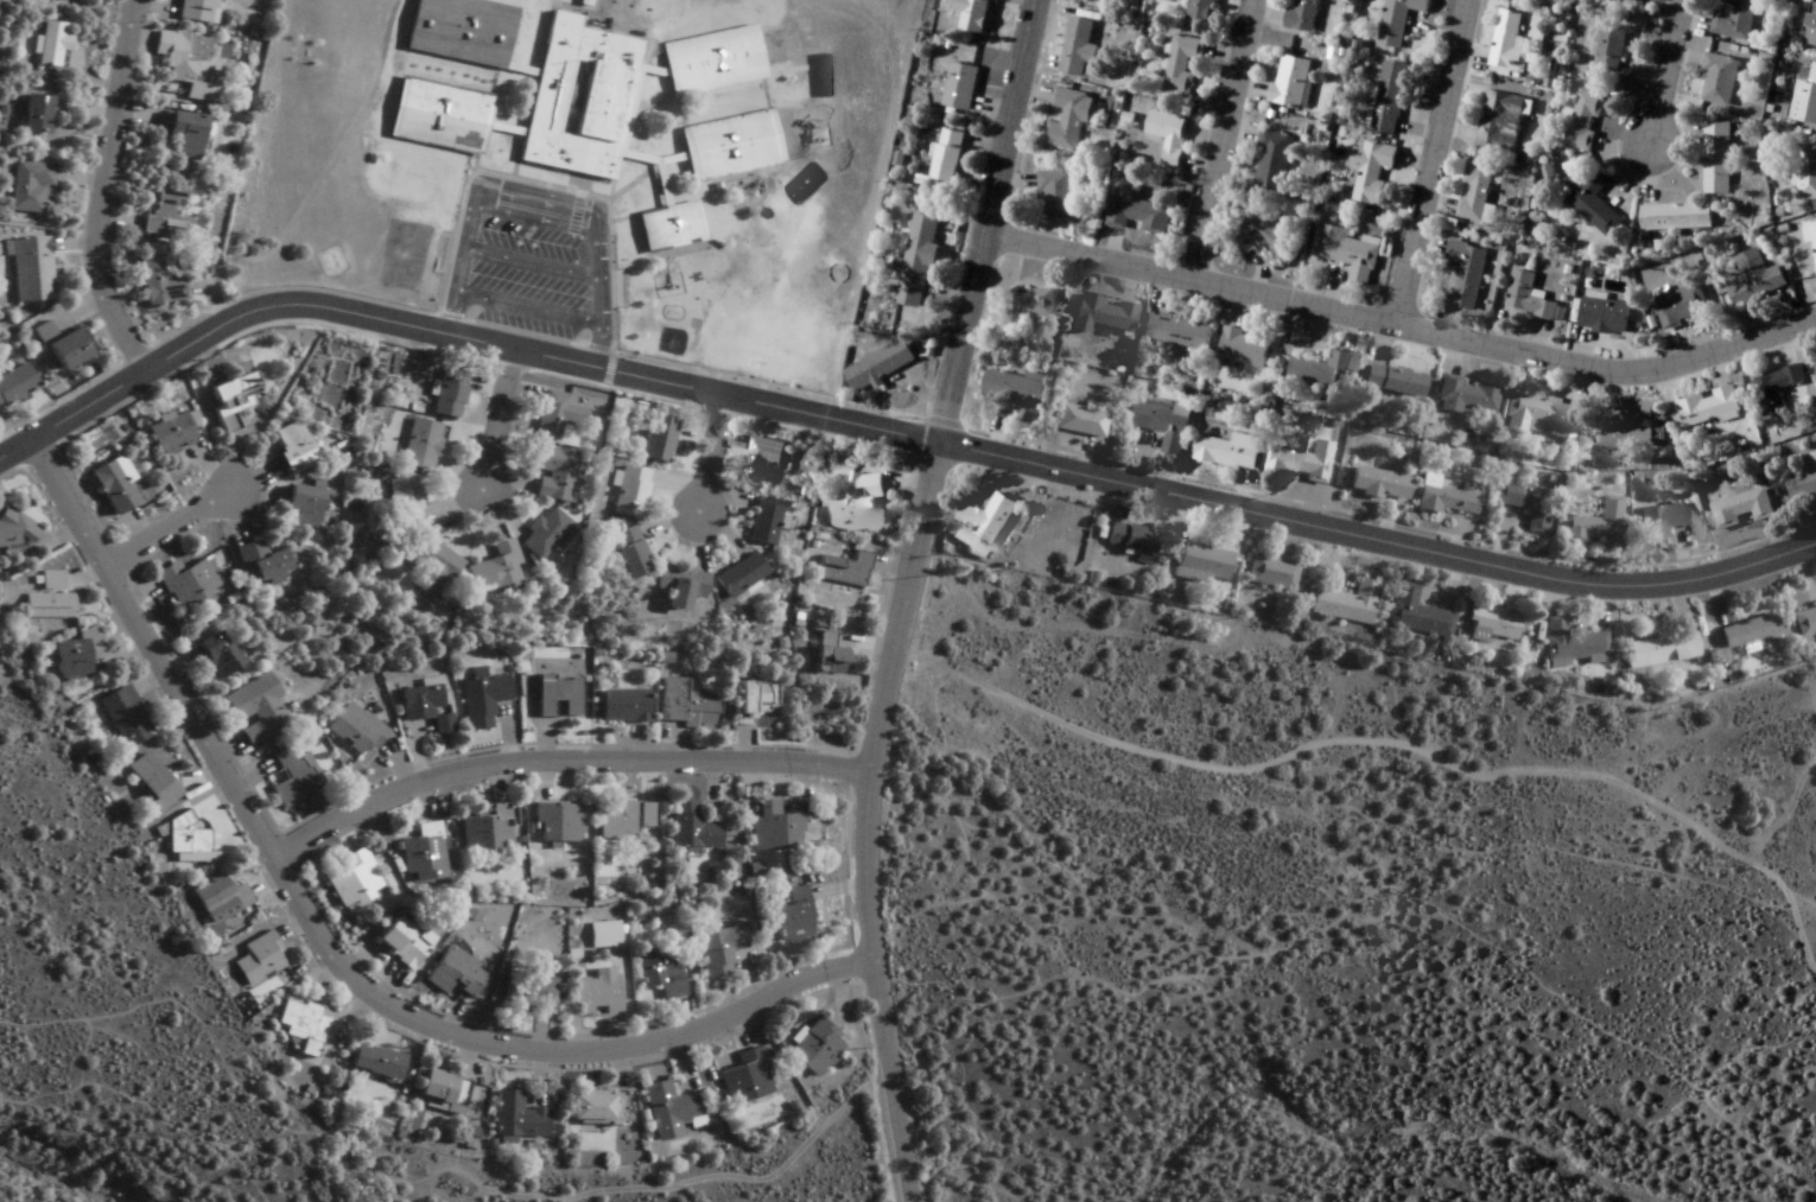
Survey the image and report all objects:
building: (1637, 0)
building: (196, 9)
building: (1200, 12)
building: (972, 14)
building: (1301, 14)
building: (1397, 20)
building: (1734, 20)
building: (1810, 28)
building: (1507, 43)
building: (49, 44)
building: (1077, 47)
building: (1608, 50)
building: (184, 63)
building: (1180, 65)
road: (1669, 70)
building: (1717, 80)
building: (1290, 81)
building: (960, 87)
building: (580, 97)
building: (1389, 97)
building: (1805, 98)
building: (37, 112)
building: (1067, 120)
building: (1583, 120)
building: (1499, 121)
building: (178, 135)
building: (1168, 136)
road: (1225, 138)
building: (946, 155)
building: (1715, 158)
road: (1433, 159)
building: (1274, 160)
building: (1371, 172)
building: (1805, 172)
road: (535, 184)
building: (27, 186)
road: (104, 186)
building: (1474, 191)
building: (1055, 196)
building: (1593, 203)
building: (1136, 211)
building: (165, 214)
building: (1675, 217)
road: (990, 218)
building: (1810, 233)
building: (1265, 240)
parking lot: (527, 254)
building: (1347, 254)
park: (404, 255)
building: (916, 262)
building: (27, 268)
building: (1465, 275)
building: (1754, 280)
building: (153, 281)
parking lot: (531, 281)
building: (1526, 298)
building: (1034, 305)
building: (1680, 307)
road: (366, 313)
building: (1100, 316)
building: (1604, 317)
road: (1403, 319)
building: (1175, 332)
building: (61, 345)
building: (1243, 351)
building: (880, 367)
building: (1319, 371)
building: (1391, 381)
building: (13, 383)
park: (337, 384)
building: (1773, 389)
building: (1016, 393)
building: (449, 394)
building: (1465, 395)
building: (229, 400)
building: (1707, 408)
road: (490, 413)
building: (1542, 414)
building: (554, 416)
road: (853, 419)
building: (1078, 421)
building: (1160, 424)
building: (1630, 430)
building: (167, 432)
building: (656, 439)
building: (287, 445)
building: (420, 446)
road: (704, 449)
building: (1228, 452)
building: (762, 462)
building: (1301, 463)
building: (552, 472)
building: (1802, 482)
building: (108, 484)
building: (1376, 484)
building: (629, 492)
building: (1446, 496)
building: (402, 503)
building: (1522, 503)
building: (299, 505)
building: (855, 505)
building: (1741, 509)
building: (1657, 521)
building: (763, 522)
building: (1594, 524)
building: (983, 526)
road: (166, 527)
building: (11, 530)
building: (545, 534)
road: (1378, 535)
building: (1131, 542)
building: (626, 554)
building: (258, 564)
building: (1201, 564)
building: (426, 566)
building: (489, 568)
building: (844, 570)
building: (1270, 573)
building: (738, 577)
building: (186, 584)
building: (679, 587)
building: (46, 598)
building: (1344, 603)
building: (1415, 615)
building: (1805, 619)
building: (1488, 623)
building: (1744, 632)
building: (1571, 643)
building: (1659, 650)
building: (74, 654)
building: (212, 655)
building: (826, 656)
building: (558, 697)
building: (482, 700)
building: (749, 701)
building: (682, 705)
building: (623, 706)
building: (424, 707)
building: (255, 708)
building: (123, 717)
building: (354, 729)
road: (1385, 748)
road: (560, 763)
building: (294, 777)
building: (148, 781)
road: (864, 816)
building: (615, 820)
building: (557, 822)
building: (688, 828)
building: (770, 828)
building: (484, 831)
building: (184, 842)
building: (421, 856)
building: (351, 879)
building: (217, 901)
building: (788, 916)
road: (1304, 929)
building: (399, 943)
building: (715, 952)
road: (328, 953)
building: (260, 969)
building: (656, 974)
building: (453, 975)
building: (593, 993)
building: (527, 994)
building: (301, 1023)
building: (812, 1049)
building: (370, 1062)
building: (744, 1077)
building: (436, 1093)
road: (157, 1101)
building: (592, 1108)
building: (472, 1112)
building: (667, 1112)
building: (514, 1118)

